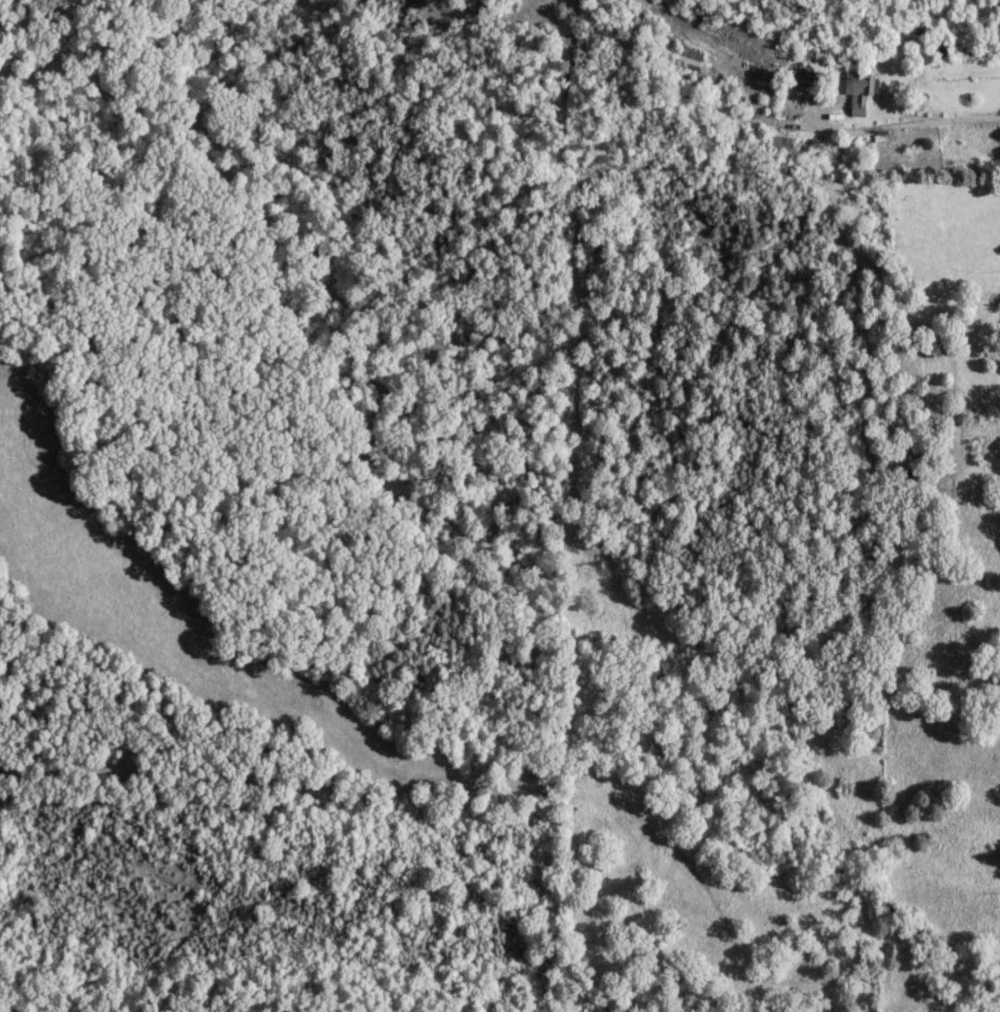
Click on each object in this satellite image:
building: (817, 50)
building: (686, 55)
building: (857, 88)
road: (906, 123)
building: (779, 139)

